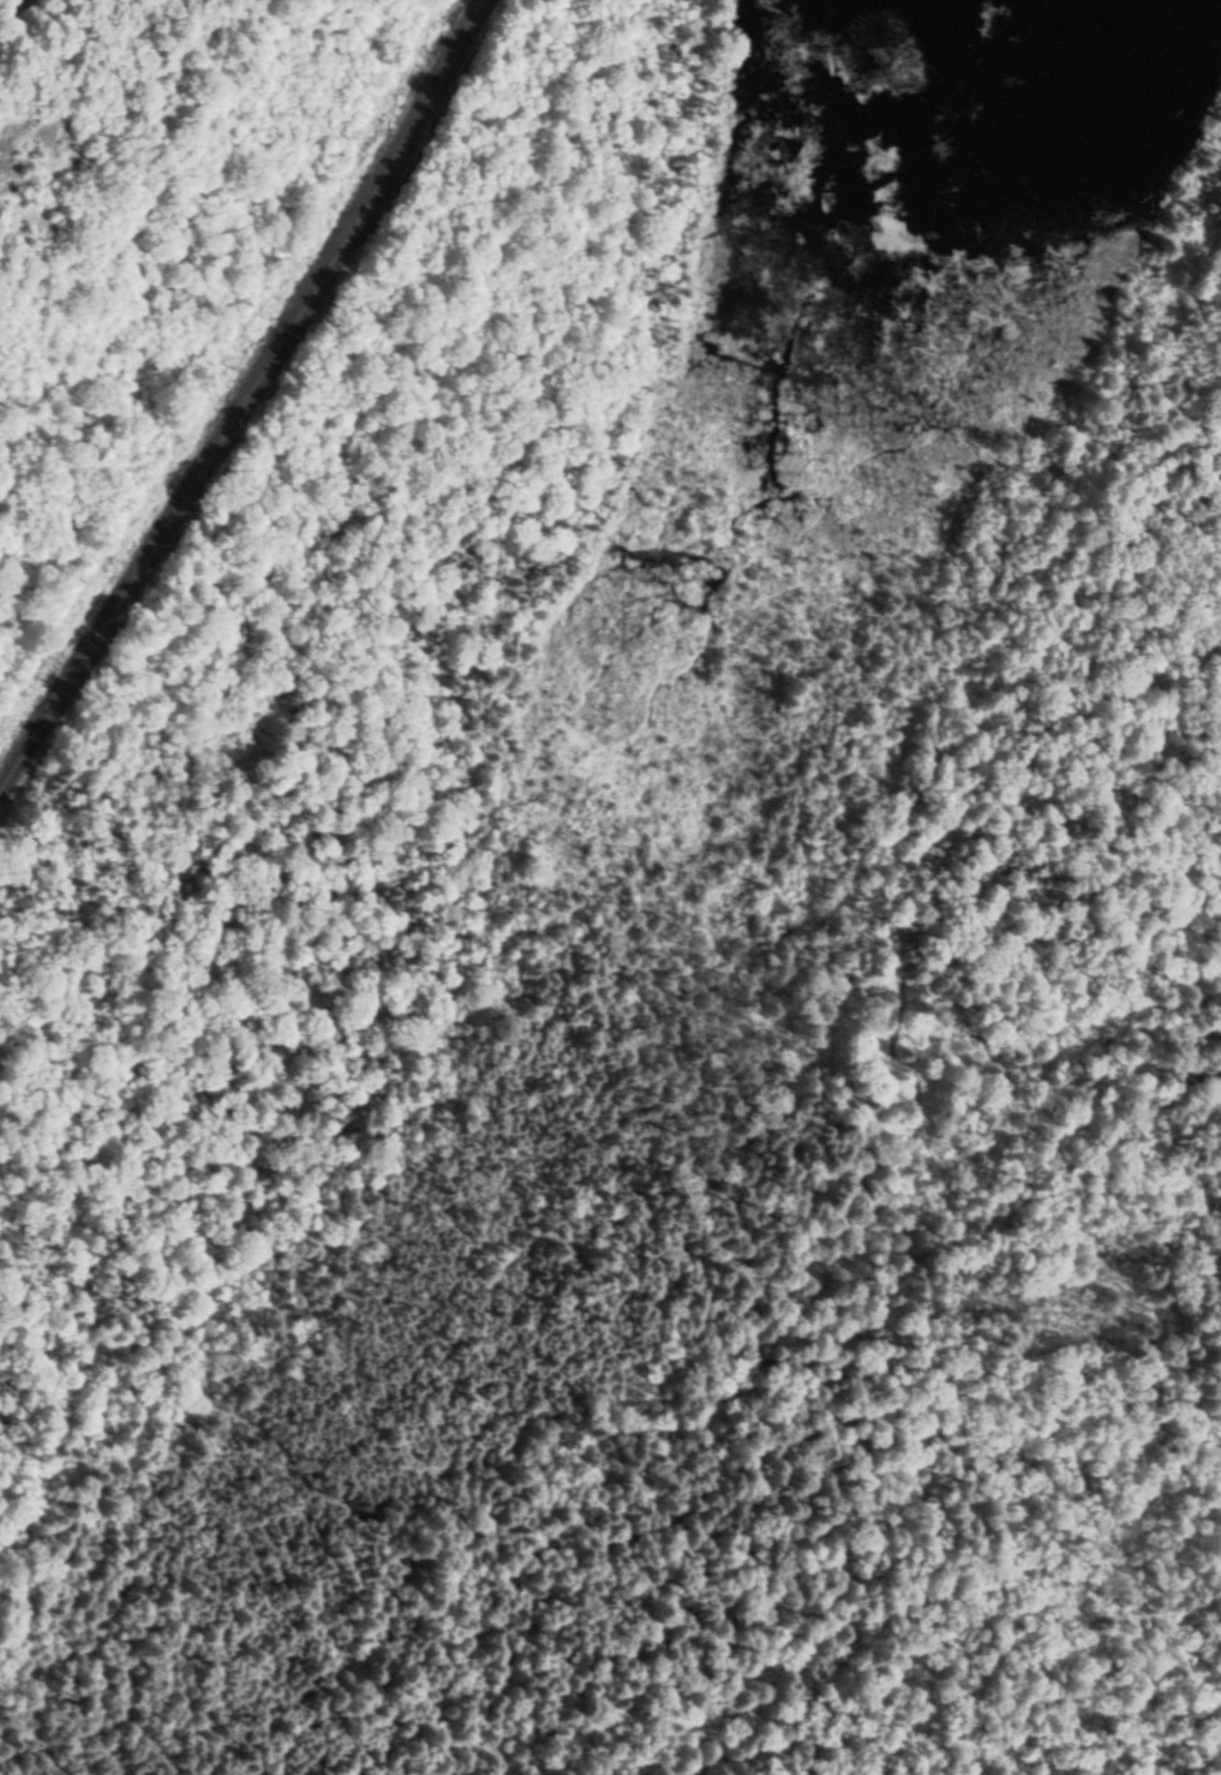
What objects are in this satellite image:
road: (251, 401)

